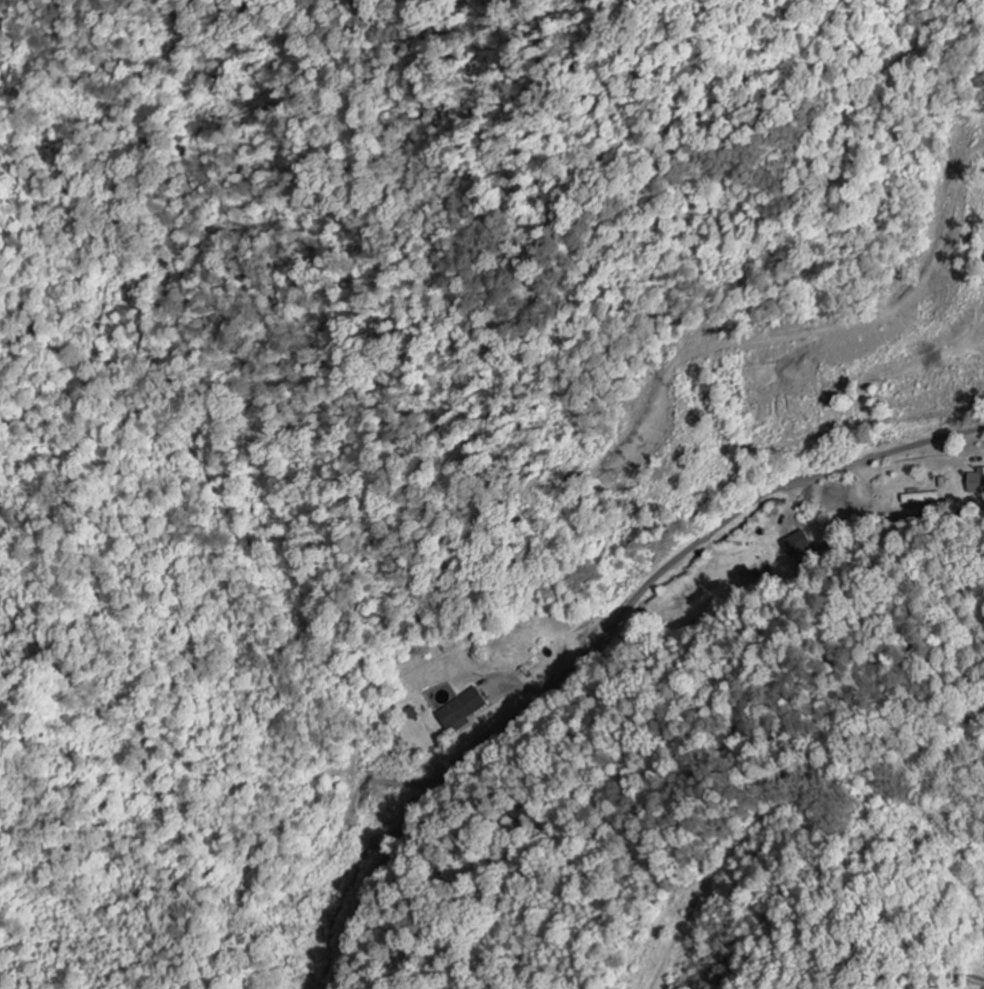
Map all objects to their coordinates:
building: (976, 483)
building: (934, 498)
building: (800, 545)
road: (599, 637)
building: (464, 709)

